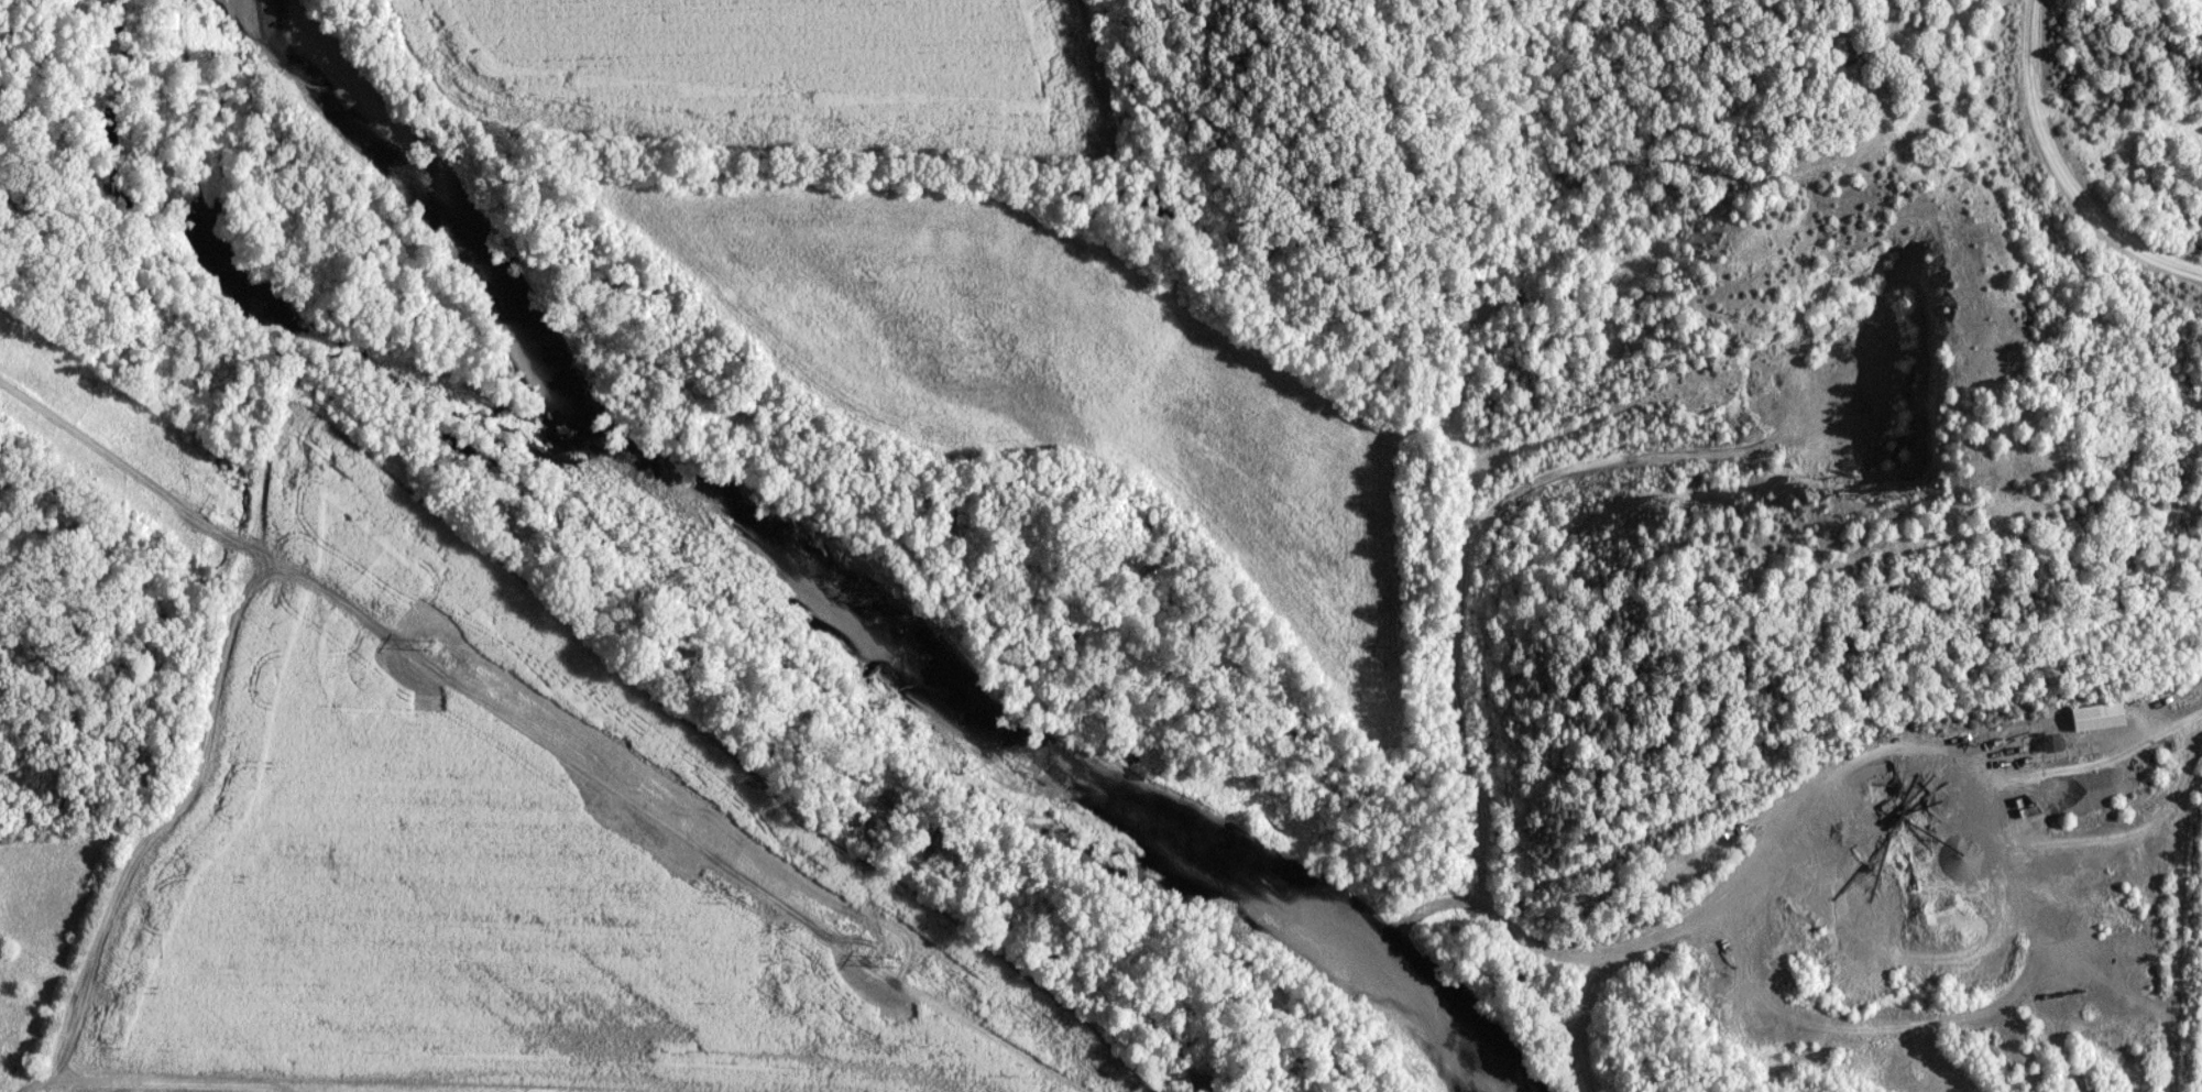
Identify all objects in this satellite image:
road: (2077, 161)
power tower: (450, 660)
building: (2099, 718)
building: (2052, 743)
road: (2177, 914)
power tower: (834, 920)

